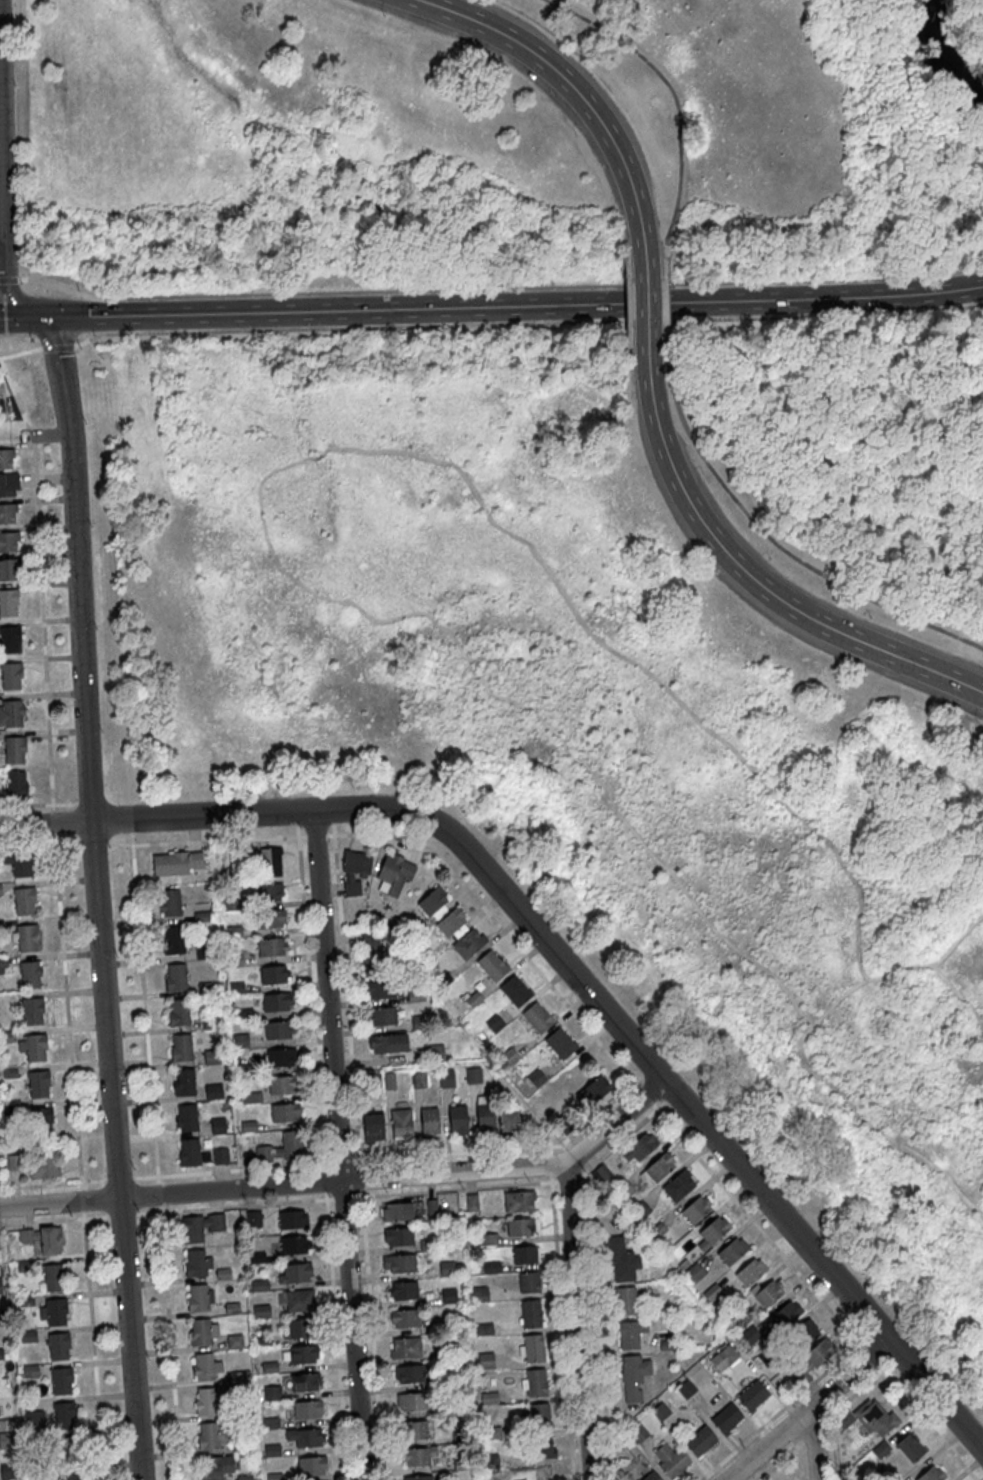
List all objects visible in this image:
river: (939, 54)
road: (569, 86)
road: (673, 97)
park: (499, 140)
street lamp: (619, 244)
road: (624, 250)
road: (668, 252)
road: (8, 278)
road: (1, 279)
street lamp: (821, 280)
street lamp: (552, 285)
road: (498, 288)
road: (644, 294)
road: (627, 299)
road: (664, 299)
road: (516, 306)
road: (24, 318)
traffic signals: (25, 318)
road: (542, 322)
road: (87, 339)
road: (57, 346)
road: (20, 351)
road: (629, 354)
road: (671, 356)
road: (842, 373)
building: (5, 459)
road: (284, 467)
street lamp: (699, 476)
building: (8, 485)
building: (6, 514)
road: (774, 542)
building: (8, 543)
street lamp: (766, 561)
building: (6, 571)
road: (749, 577)
road: (40, 582)
building: (8, 604)
street lamp: (868, 619)
building: (9, 640)
building: (10, 677)
park: (616, 689)
building: (10, 715)
street lamp: (976, 724)
building: (13, 751)
building: (15, 787)
road: (81, 802)
road: (37, 804)
road: (331, 816)
road: (296, 817)
road: (51, 822)
road: (131, 825)
road: (315, 835)
road: (39, 840)
road: (206, 840)
road: (92, 841)
building: (260, 862)
building: (17, 864)
building: (174, 865)
building: (353, 872)
building: (393, 876)
building: (0, 893)
building: (266, 894)
road: (96, 898)
building: (23, 903)
building: (169, 905)
building: (432, 905)
building: (230, 907)
building: (201, 918)
building: (269, 920)
building: (451, 925)
road: (499, 926)
building: (1, 927)
building: (390, 929)
building: (232, 934)
building: (24, 939)
building: (173, 943)
building: (467, 945)
building: (270, 949)
building: (203, 954)
building: (370, 956)
building: (233, 962)
building: (2, 964)
building: (491, 968)
road: (567, 968)
building: (29, 976)
building: (272, 976)
building: (174, 979)
building: (441, 981)
building: (205, 990)
building: (235, 990)
road: (949, 990)
building: (382, 991)
road: (345, 993)
building: (515, 993)
road: (310, 995)
building: (415, 998)
building: (471, 1000)
building: (275, 1004)
road: (144, 1006)
road: (66, 1011)
building: (31, 1013)
building: (179, 1015)
building: (244, 1016)
building: (381, 1019)
building: (537, 1020)
building: (418, 1023)
building: (209, 1024)
building: (494, 1026)
building: (277, 1032)
building: (5, 1039)
building: (240, 1043)
building: (387, 1046)
building: (559, 1046)
building: (32, 1049)
building: (180, 1050)
building: (437, 1053)
road: (804, 1058)
building: (210, 1059)
building: (279, 1059)
building: (508, 1059)
building: (241, 1072)
building: (8, 1074)
building: (472, 1078)
building: (445, 1080)
building: (535, 1080)
building: (417, 1081)
building: (388, 1083)
building: (184, 1084)
building: (38, 1085)
building: (370, 1085)
building: (281, 1087)
building: (593, 1092)
building: (213, 1093)
road: (644, 1094)
building: (248, 1100)
building: (9, 1110)
building: (284, 1114)
building: (485, 1119)
building: (186, 1120)
building: (41, 1121)
building: (458, 1122)
building: (429, 1123)
building: (513, 1124)
building: (400, 1125)
building: (217, 1127)
building: (248, 1128)
building: (372, 1129)
road: (617, 1141)
road: (337, 1145)
road: (563, 1145)
road: (505, 1148)
road: (549, 1148)
building: (282, 1150)
building: (639, 1150)
building: (191, 1155)
building: (220, 1158)
road: (572, 1159)
road: (341, 1160)
building: (14, 1164)
road: (549, 1164)
building: (43, 1169)
road: (231, 1169)
building: (657, 1170)
road: (584, 1172)
building: (603, 1174)
road: (119, 1177)
road: (359, 1177)
road: (583, 1178)
road: (346, 1179)
road: (568, 1179)
road: (323, 1180)
road: (52, 1183)
building: (677, 1187)
road: (455, 1188)
building: (622, 1191)
road: (158, 1192)
road: (343, 1196)
road: (81, 1199)
building: (519, 1203)
road: (233, 1205)
building: (471, 1205)
building: (431, 1209)
building: (696, 1211)
building: (640, 1212)
road: (120, 1213)
building: (402, 1213)
road: (53, 1219)
building: (253, 1221)
building: (292, 1221)
road: (759, 1227)
building: (200, 1228)
building: (521, 1229)
building: (657, 1232)
building: (712, 1234)
building: (398, 1238)
building: (39, 1241)
building: (488, 1241)
building: (293, 1247)
building: (427, 1247)
building: (732, 1253)
building: (524, 1257)
building: (257, 1259)
building: (621, 1262)
building: (196, 1265)
building: (399, 1265)
building: (683, 1267)
building: (23, 1268)
building: (458, 1269)
building: (491, 1269)
building: (446, 1270)
building: (750, 1274)
building: (295, 1275)
building: (694, 1275)
building: (222, 1276)
building: (52, 1279)
building: (528, 1284)
building: (259, 1287)
building: (0, 1288)
building: (403, 1293)
building: (712, 1295)
building: (766, 1295)
building: (480, 1296)
building: (448, 1298)
building: (199, 1300)
building: (25, 1302)
building: (300, 1302)
building: (625, 1303)
building: (232, 1310)
building: (261, 1313)
building: (53, 1314)
building: (530, 1316)
building: (786, 1316)
building: (731, 1317)
building: (1, 1319)
building: (405, 1320)
road: (577, 1321)
building: (451, 1328)
road: (562, 1328)
road: (598, 1329)
building: (299, 1331)
building: (484, 1331)
building: (202, 1334)
building: (805, 1334)
road: (372, 1335)
road: (336, 1336)
building: (630, 1337)
building: (27, 1338)
building: (749, 1338)
road: (170, 1341)
building: (262, 1341)
building: (235, 1343)
road: (92, 1345)
building: (666, 1346)
building: (58, 1348)
building: (405, 1350)
building: (533, 1351)
building: (452, 1354)
building: (1, 1355)
building: (302, 1356)
road: (871, 1358)
building: (724, 1360)
building: (486, 1362)
building: (812, 1362)
building: (205, 1368)
building: (269, 1369)
building: (634, 1371)
building: (30, 1373)
building: (410, 1376)
building: (236, 1379)
building: (60, 1382)
building: (455, 1383)
building: (305, 1384)
building: (535, 1385)
building: (686, 1391)
road: (852, 1393)
building: (272, 1395)
building: (632, 1396)
building: (751, 1398)
building: (489, 1400)
building: (210, 1401)
building: (412, 1403)
building: (448, 1409)
road: (808, 1410)
building: (307, 1411)
road: (778, 1411)
building: (239, 1412)
building: (660, 1414)
building: (63, 1417)
building: (536, 1420)
building: (874, 1420)
building: (34, 1421)
building: (725, 1421)
building: (844, 1421)
road: (926, 1422)
building: (270, 1424)
road: (812, 1428)
building: (489, 1431)
building: (416, 1432)
building: (638, 1435)
building: (211, 1438)
building: (460, 1438)
building: (305, 1439)
building: (36, 1441)
building: (7, 1442)
building: (699, 1443)
road: (814, 1443)
road: (833, 1446)
building: (241, 1448)
building: (909, 1450)
building: (539, 1451)
building: (65, 1452)
building: (272, 1452)
building: (880, 1452)
building: (418, 1458)
road: (777, 1459)
road: (799, 1461)
building: (670, 1463)
building: (490, 1464)
building: (464, 1466)
building: (623, 1466)
building: (216, 1468)
building: (311, 1468)
building: (8, 1472)
building: (37, 1475)
building: (932, 1475)
building: (69, 1476)
building: (274, 1477)
building: (651, 1477)
building: (245, 1478)
building: (421, 1478)

